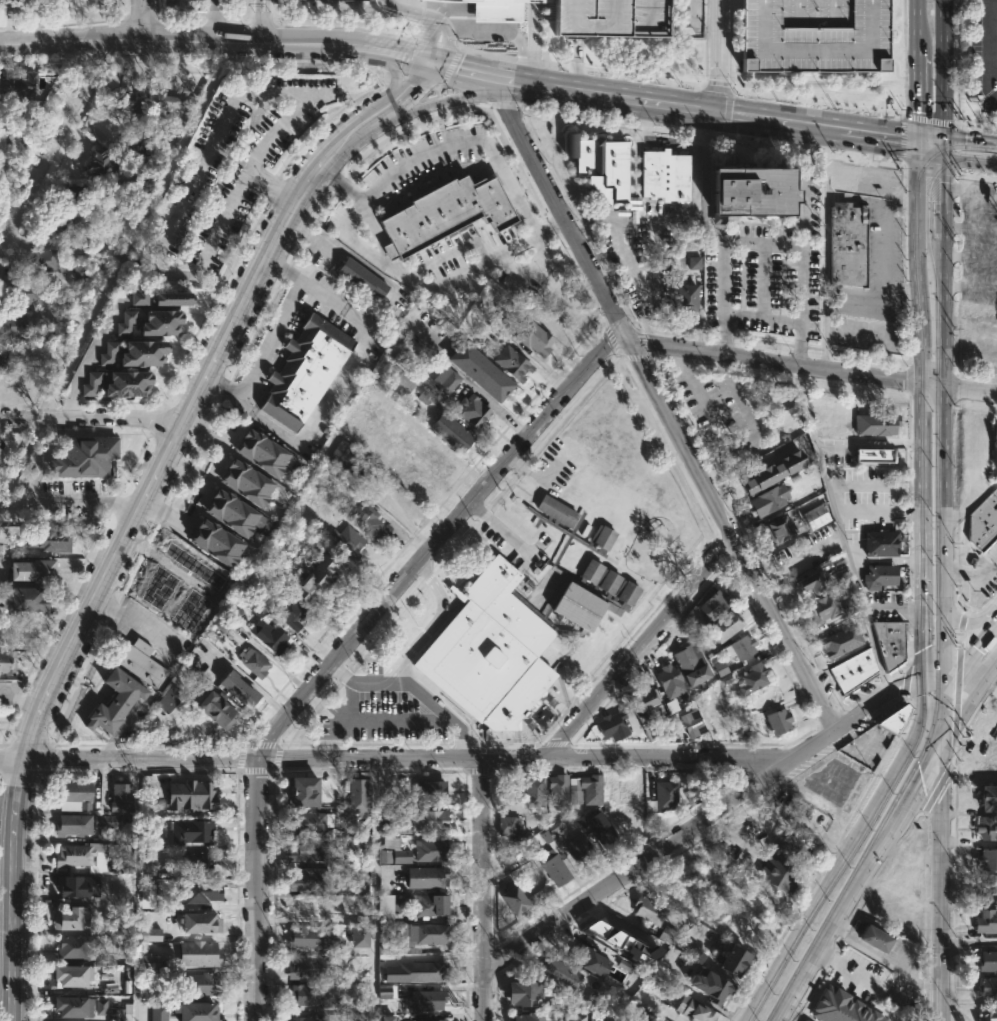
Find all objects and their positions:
building: (496, 10)
road: (695, 10)
road: (409, 11)
building: (611, 17)
parking garage: (611, 17)
road: (141, 19)
road: (212, 20)
road: (501, 29)
road: (915, 30)
building: (815, 34)
parking garage: (815, 34)
road: (991, 40)
road: (216, 41)
road: (431, 41)
road: (438, 43)
road: (446, 48)
road: (717, 56)
road: (409, 57)
traffic signals: (431, 61)
road: (573, 65)
road: (450, 67)
road: (941, 67)
road: (582, 68)
road: (463, 69)
road: (393, 72)
road: (394, 74)
road: (421, 81)
building: (19, 84)
road: (717, 88)
road: (414, 89)
building: (127, 100)
road: (441, 100)
road: (444, 101)
road: (914, 101)
road: (816, 103)
building: (167, 110)
road: (704, 111)
traffic signals: (941, 135)
road: (927, 138)
road: (969, 138)
building: (0, 139)
traffic signals: (913, 142)
road: (50, 143)
road: (941, 146)
road: (926, 149)
railway: (996, 156)
traffic signals: (940, 158)
road: (968, 162)
building: (103, 163)
building: (602, 164)
building: (142, 165)
parking lot: (228, 168)
road: (957, 173)
building: (665, 175)
road: (251, 176)
building: (843, 176)
road: (190, 185)
road: (274, 185)
road: (342, 185)
road: (804, 188)
building: (753, 191)
building: (73, 193)
road: (288, 194)
building: (447, 212)
road: (346, 222)
building: (58, 226)
road: (713, 233)
road: (825, 240)
building: (848, 243)
road: (883, 246)
building: (43, 259)
building: (694, 262)
road: (801, 268)
building: (80, 270)
building: (360, 276)
building: (26, 292)
building: (685, 296)
road: (871, 296)
building: (138, 298)
building: (174, 299)
building: (64, 303)
road: (762, 318)
building: (126, 322)
building: (162, 322)
building: (12, 325)
road: (918, 333)
building: (533, 336)
road: (270, 338)
road: (98, 339)
building: (109, 353)
building: (144, 353)
building: (0, 359)
building: (512, 363)
road: (813, 368)
building: (304, 371)
building: (480, 371)
building: (444, 379)
building: (90, 383)
building: (126, 383)
road: (341, 383)
building: (401, 384)
road: (477, 389)
road: (663, 405)
building: (472, 410)
parking lot: (721, 410)
road: (941, 415)
road: (92, 418)
building: (875, 423)
building: (836, 424)
building: (451, 432)
building: (996, 442)
road: (867, 444)
road: (733, 445)
building: (262, 453)
building: (874, 455)
building: (434, 456)
building: (85, 457)
road: (20, 458)
building: (343, 458)
building: (772, 471)
building: (409, 476)
road: (209, 482)
building: (247, 483)
road: (865, 488)
building: (769, 500)
road: (42, 501)
road: (877, 510)
building: (233, 513)
building: (815, 516)
building: (984, 521)
building: (369, 523)
road: (499, 527)
building: (780, 529)
road: (840, 530)
road: (128, 537)
building: (50, 542)
building: (217, 543)
building: (347, 543)
building: (881, 543)
road: (816, 548)
road: (884, 560)
road: (165, 570)
building: (193, 570)
building: (33, 571)
road: (971, 573)
building: (881, 574)
railway: (921, 576)
building: (317, 580)
building: (817, 582)
railway: (937, 585)
building: (159, 590)
road: (175, 597)
building: (28, 599)
road: (920, 599)
building: (715, 606)
building: (823, 608)
road: (891, 608)
building: (190, 611)
building: (289, 612)
road: (968, 623)
road: (132, 625)
building: (519, 625)
road: (963, 625)
building: (267, 631)
building: (724, 631)
building: (238, 635)
road: (353, 639)
building: (840, 641)
building: (890, 642)
building: (742, 647)
road: (413, 648)
road: (640, 650)
building: (8, 662)
building: (139, 663)
building: (254, 663)
building: (692, 665)
road: (964, 666)
building: (853, 670)
traffic signals: (932, 672)
building: (753, 679)
building: (670, 681)
road: (957, 682)
building: (238, 690)
building: (167, 698)
building: (646, 698)
building: (115, 702)
road: (964, 706)
road: (438, 708)
building: (217, 709)
traffic signals: (933, 709)
road: (933, 712)
building: (993, 718)
building: (894, 719)
road: (382, 720)
building: (778, 721)
building: (693, 723)
building: (613, 725)
traffic signals: (934, 753)
road: (394, 758)
building: (587, 788)
building: (305, 789)
building: (557, 789)
building: (430, 790)
building: (533, 791)
road: (911, 792)
building: (73, 793)
building: (664, 795)
building: (121, 796)
building: (184, 796)
building: (989, 796)
building: (358, 797)
road: (706, 815)
building: (388, 816)
building: (429, 819)
building: (106, 820)
building: (310, 821)
road: (793, 823)
building: (73, 824)
building: (508, 826)
building: (988, 827)
building: (192, 831)
building: (606, 833)
building: (791, 848)
building: (308, 849)
building: (430, 849)
building: (392, 851)
building: (581, 851)
building: (83, 856)
building: (988, 858)
building: (553, 859)
building: (198, 862)
road: (837, 864)
building: (121, 866)
building: (779, 875)
building: (425, 877)
building: (308, 879)
building: (72, 887)
road: (937, 887)
road: (137, 889)
road: (373, 889)
road: (483, 889)
building: (988, 889)
building: (200, 893)
building: (516, 897)
building: (426, 903)
building: (306, 907)
building: (384, 909)
building: (650, 910)
building: (72, 917)
building: (987, 920)
building: (200, 921)
road: (832, 926)
building: (151, 934)
building: (359, 935)
building: (420, 935)
building: (668, 935)
building: (313, 938)
building: (878, 938)
building: (621, 941)
road: (968, 942)
building: (75, 947)
road: (862, 947)
building: (199, 954)
building: (696, 956)
building: (735, 958)
building: (588, 960)
building: (988, 961)
building: (148, 962)
building: (307, 967)
road: (848, 967)
building: (411, 968)
building: (71, 974)
building: (562, 975)
road: (905, 978)
building: (197, 985)
building: (715, 985)
building: (987, 988)
building: (384, 991)
building: (525, 991)
building: (308, 996)
building: (425, 1000)
building: (78, 1005)
building: (838, 1008)
building: (696, 1009)
building: (196, 1010)
building: (158, 1012)
building: (988, 1014)
building: (530, 1016)
building: (310, 1018)
building: (387, 1018)
building: (421, 1020)

